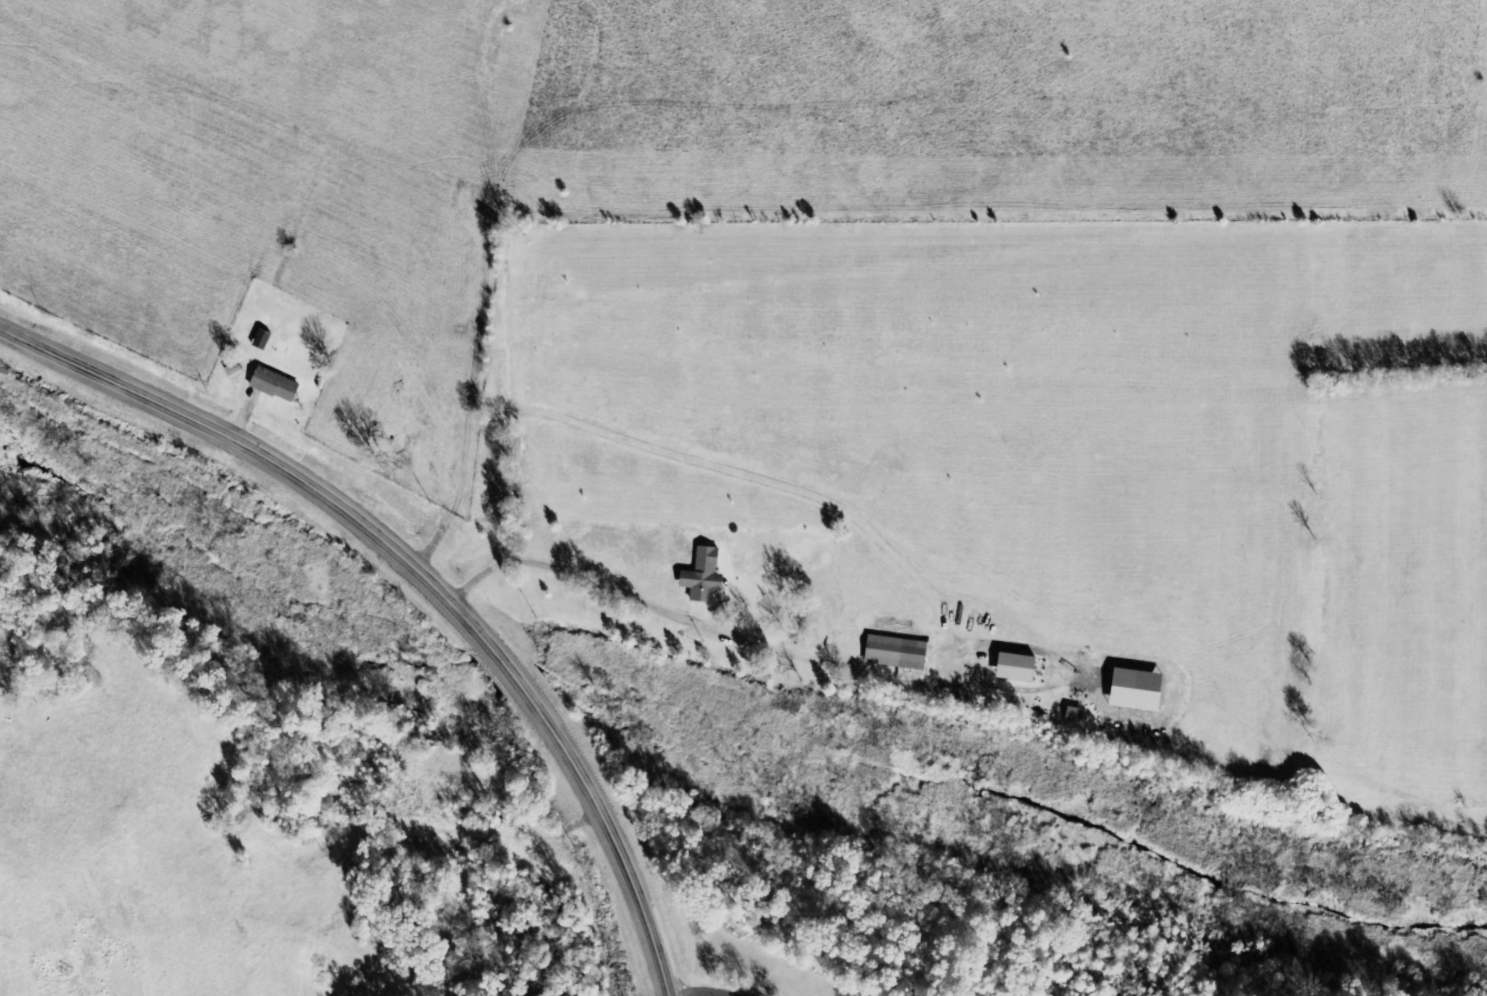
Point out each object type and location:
building: (235, 372)
building: (277, 386)
road: (423, 577)
building: (705, 577)
road: (675, 618)
building: (899, 654)
building: (1020, 669)
building: (1141, 691)
building: (1077, 716)
road: (703, 995)

